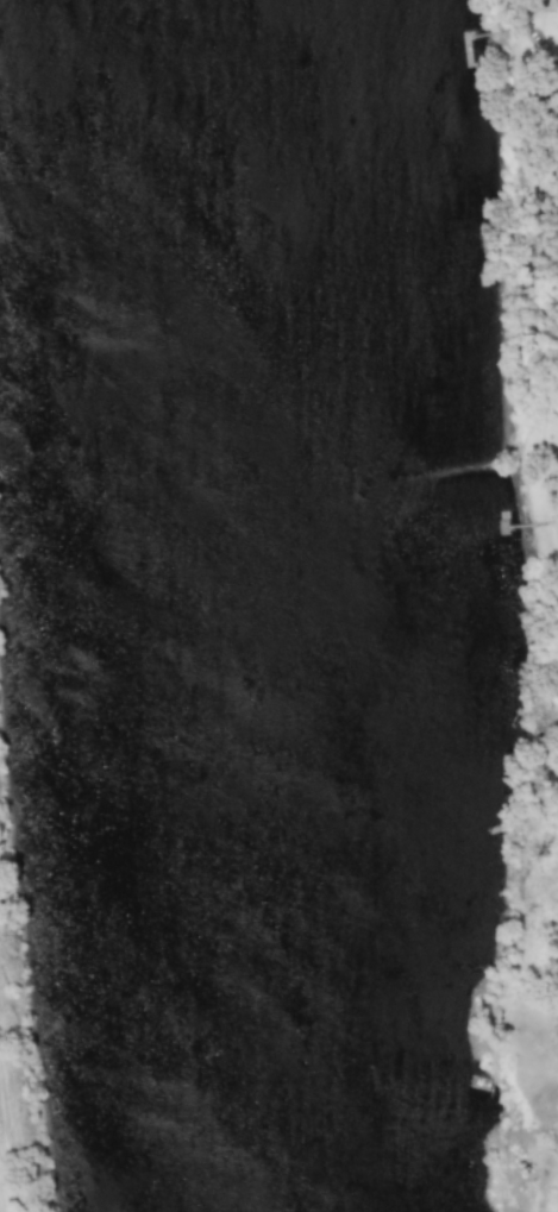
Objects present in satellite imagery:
river: (277, 604)

